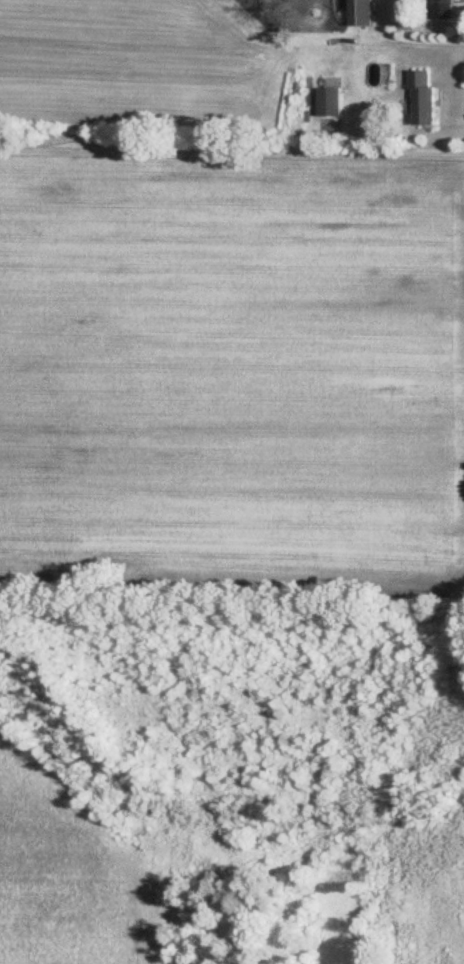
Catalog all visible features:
building: (449, 9)
building: (366, 12)
building: (430, 97)
building: (335, 101)

